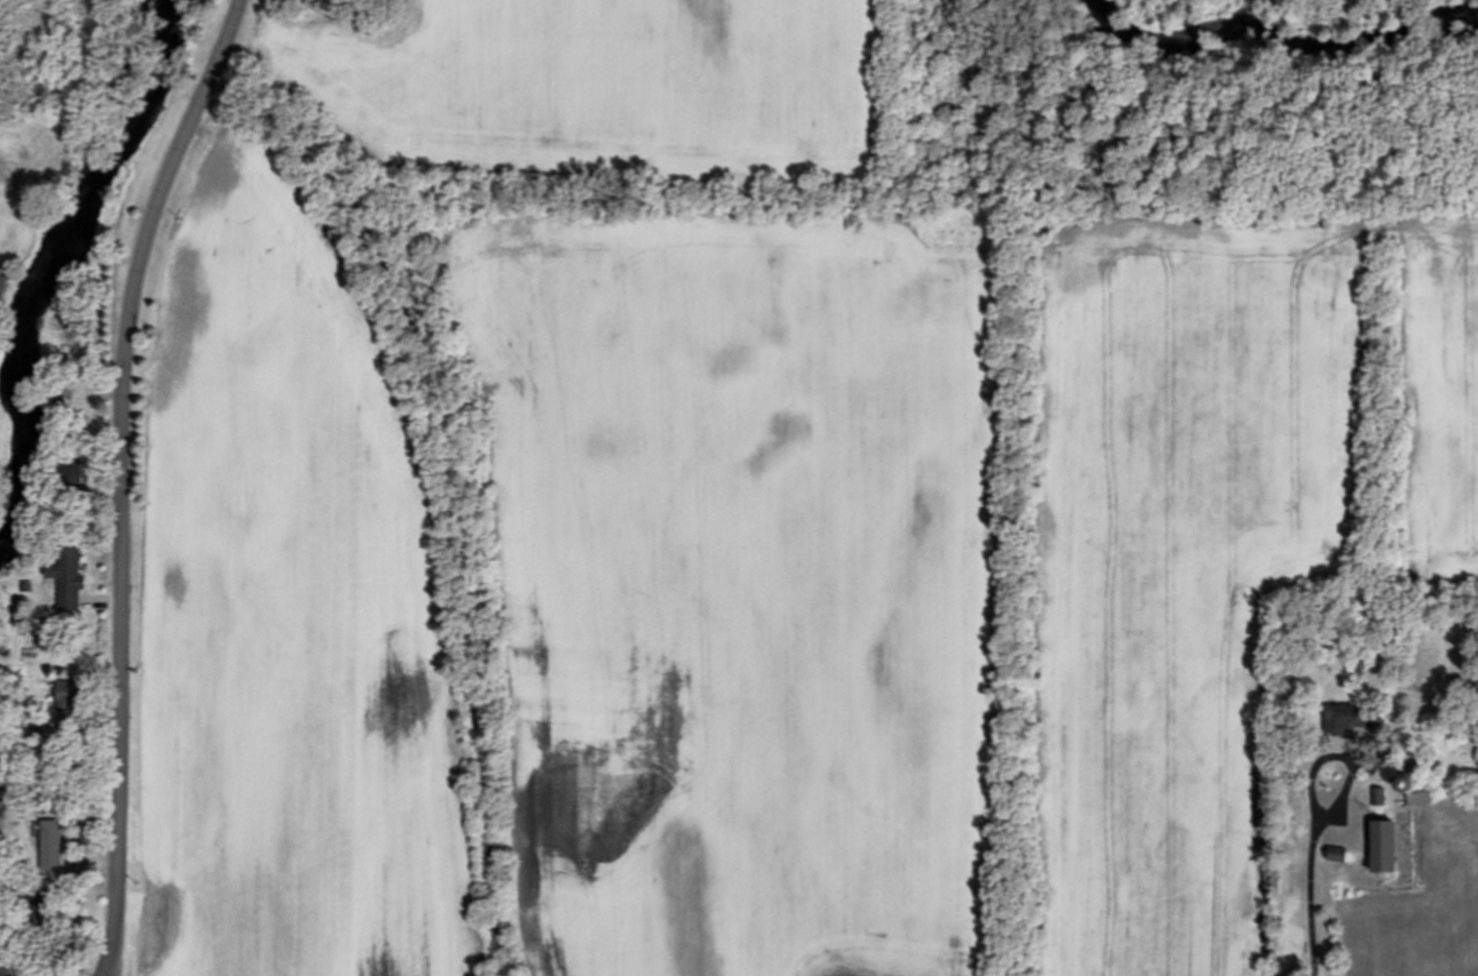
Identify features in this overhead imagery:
river: (1297, 46)
river: (66, 273)
road: (128, 467)
building: (72, 477)
building: (69, 578)
building: (69, 697)
building: (1357, 720)
road: (1341, 756)
building: (53, 846)
building: (1386, 847)
building: (1339, 855)
road: (1311, 902)
road: (107, 966)
road: (111, 966)

